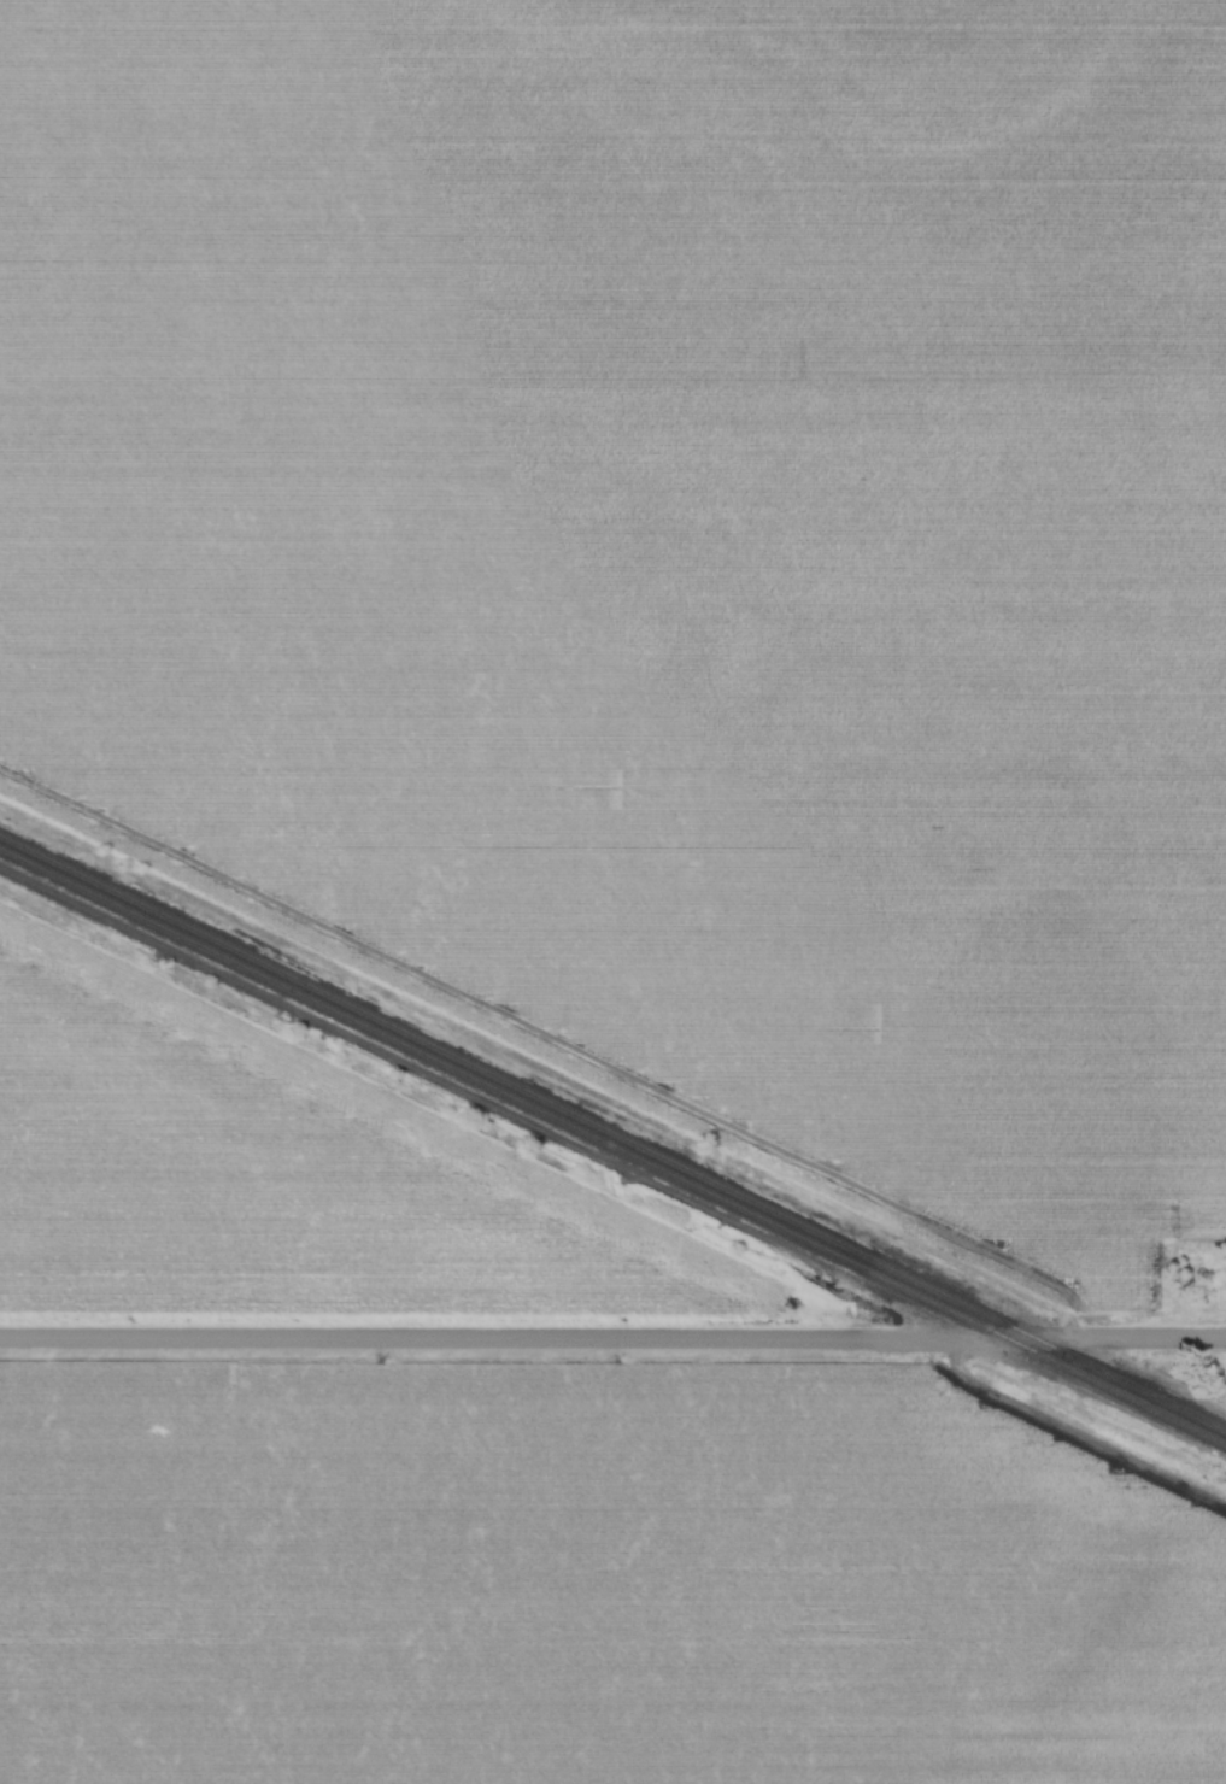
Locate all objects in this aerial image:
railway: (612, 1134)
railway: (612, 1149)
road: (612, 1342)

